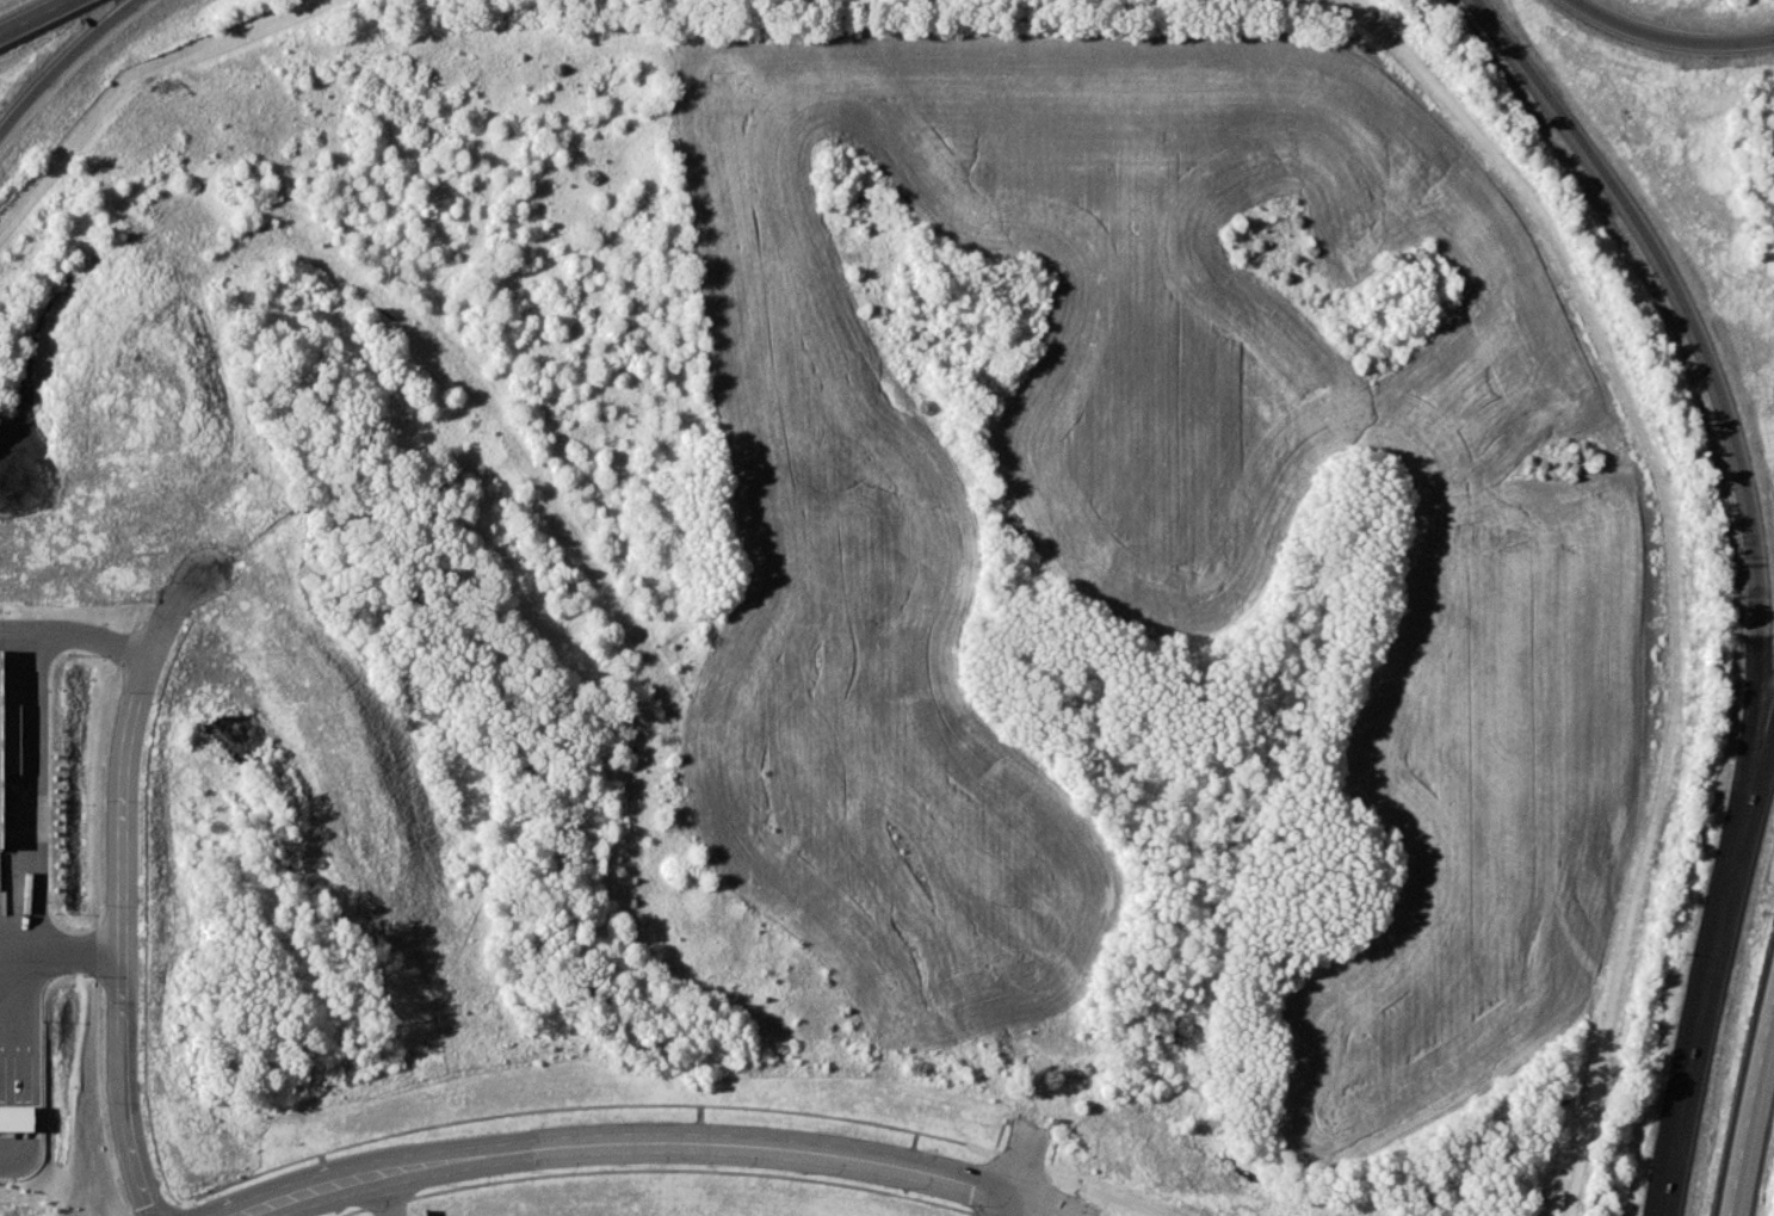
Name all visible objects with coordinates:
road: (32, 16)
road: (1668, 38)
road: (61, 62)
road: (128, 73)
road: (1701, 346)
crop: (1155, 527)
road: (1670, 566)
road: (75, 635)
building: (0, 739)
road: (1772, 743)
road: (31, 791)
road: (120, 882)
parking lot: (1, 942)
road: (60, 952)
road: (1712, 983)
building: (30, 1092)
gas station: (30, 1092)
road: (1753, 1111)
road: (665, 1144)
road: (1021, 1177)
road: (1063, 1180)
road: (388, 1197)

